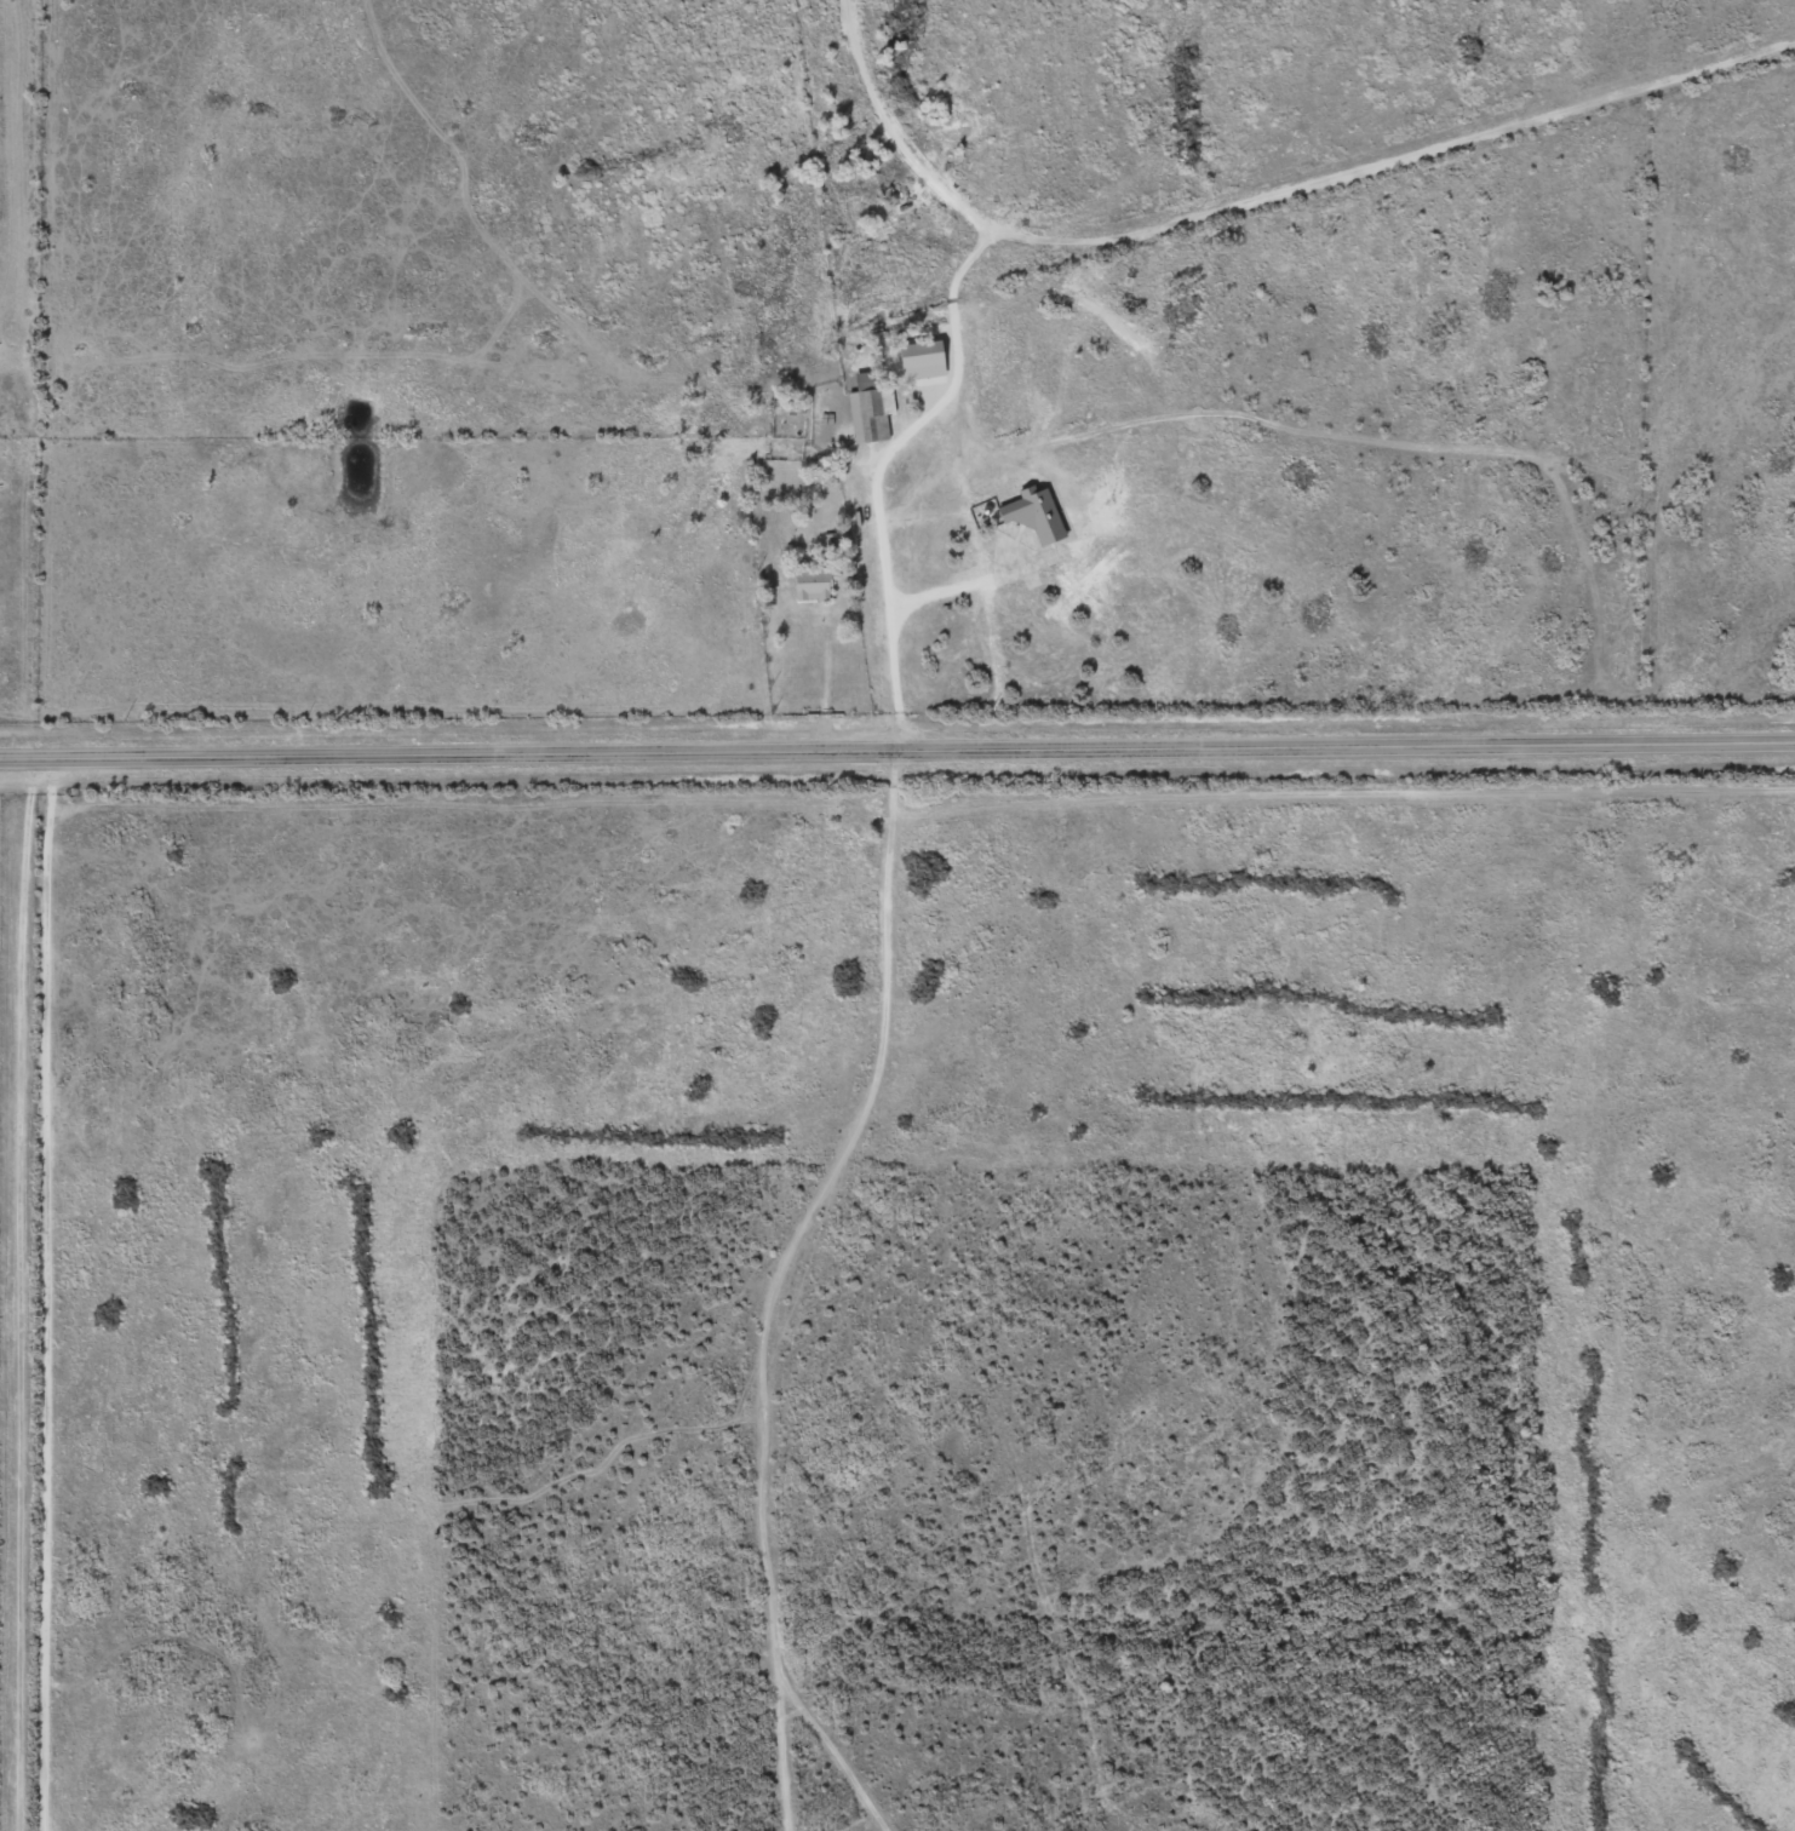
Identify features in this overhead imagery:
building: (925, 360)
building: (873, 408)
building: (1038, 513)
road: (884, 524)
building: (816, 585)
road: (896, 750)

